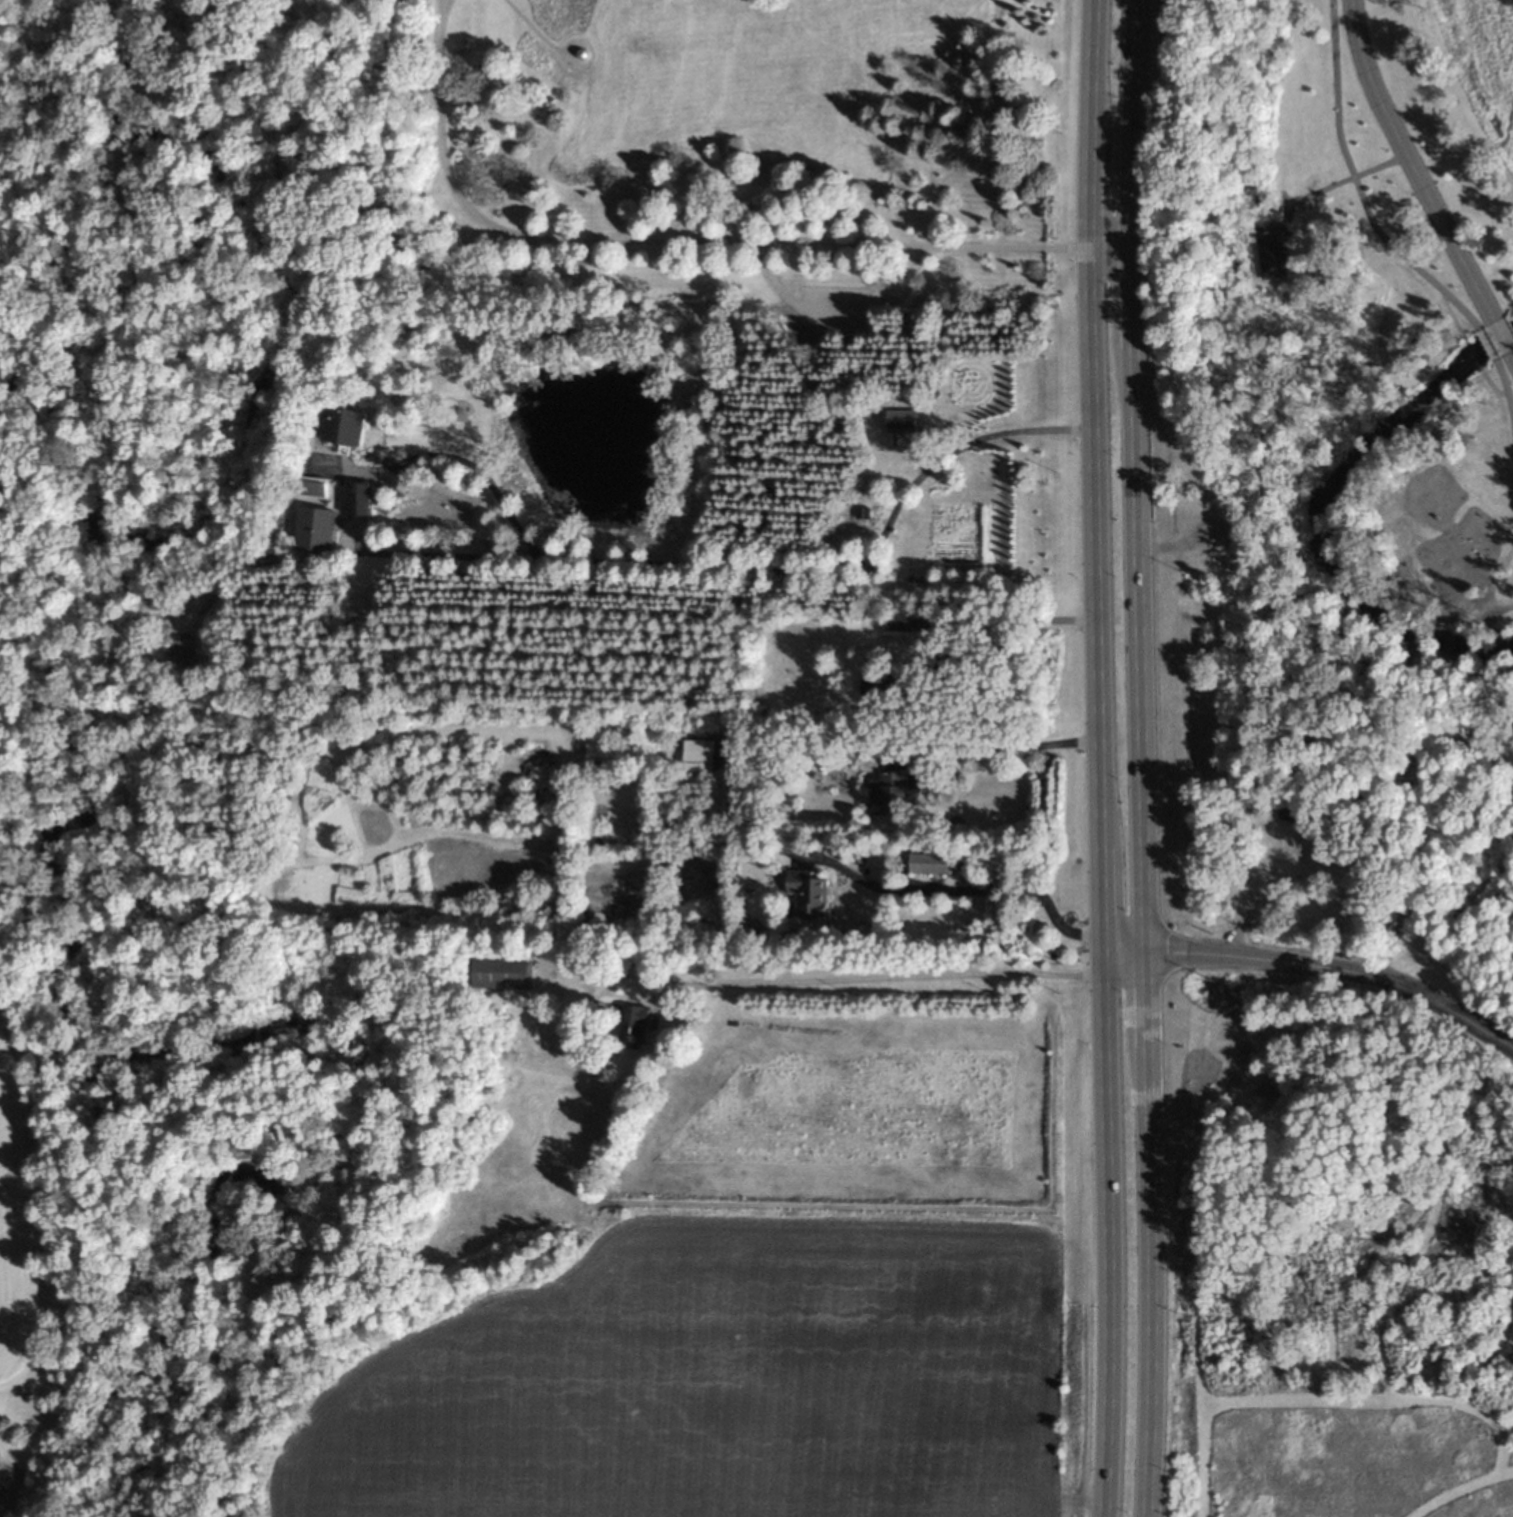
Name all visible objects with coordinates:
road: (439, 4)
road: (535, 30)
road: (45, 34)
road: (377, 48)
building: (578, 52)
road: (1408, 161)
road: (1336, 181)
road: (1356, 186)
road: (666, 239)
road: (1111, 246)
building: (1263, 250)
parking lot: (832, 306)
road: (832, 306)
road: (1499, 332)
road: (1483, 344)
road: (1511, 353)
park: (486, 355)
building: (456, 408)
road: (1510, 416)
building: (898, 420)
building: (345, 422)
park: (1356, 430)
building: (309, 487)
building: (358, 500)
road: (1290, 501)
building: (1199, 528)
building: (313, 531)
road: (712, 566)
road: (1494, 585)
road: (999, 618)
road: (1481, 649)
road: (1415, 664)
building: (889, 679)
building: (757, 736)
building: (765, 738)
road: (973, 745)
road: (1098, 758)
road: (1139, 758)
building: (694, 761)
building: (729, 772)
building: (890, 790)
building: (1287, 807)
building: (925, 860)
road: (963, 888)
building: (802, 893)
road: (1315, 965)
building: (499, 969)
road: (870, 981)
building: (629, 1020)
road: (1296, 1038)
park: (1334, 1252)
road: (1355, 1280)
road: (1491, 1354)
crop: (711, 1388)
road: (1426, 1399)
road: (1508, 1441)
road: (1504, 1472)

